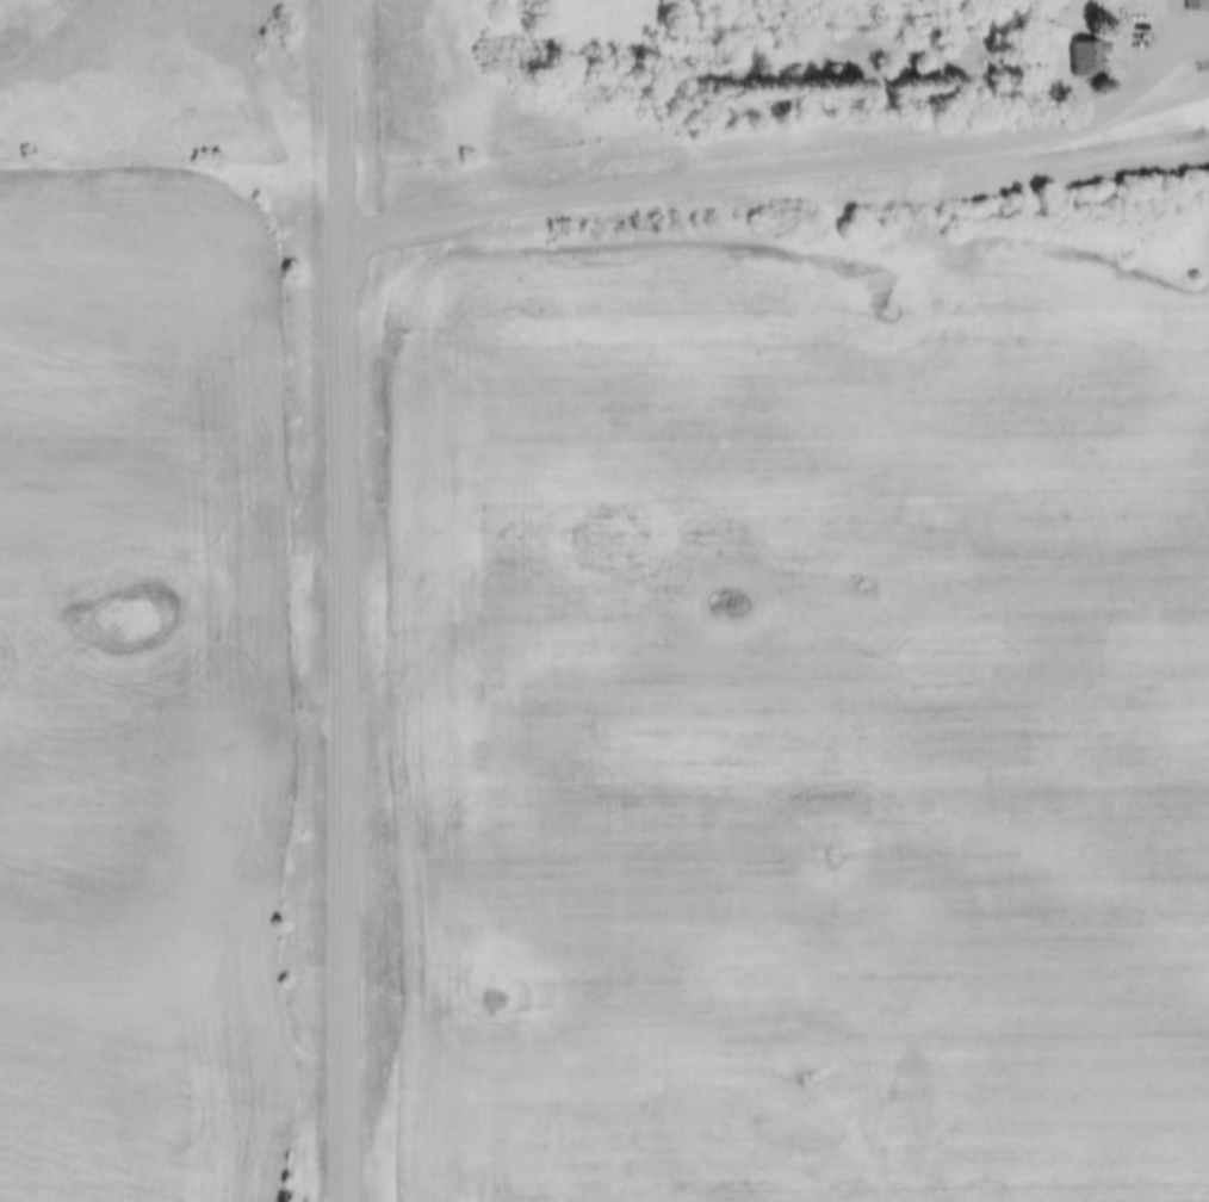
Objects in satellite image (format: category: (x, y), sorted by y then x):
building: (1197, 5)
road: (38, 37)
building: (1079, 48)
road: (787, 165)
road: (342, 600)

